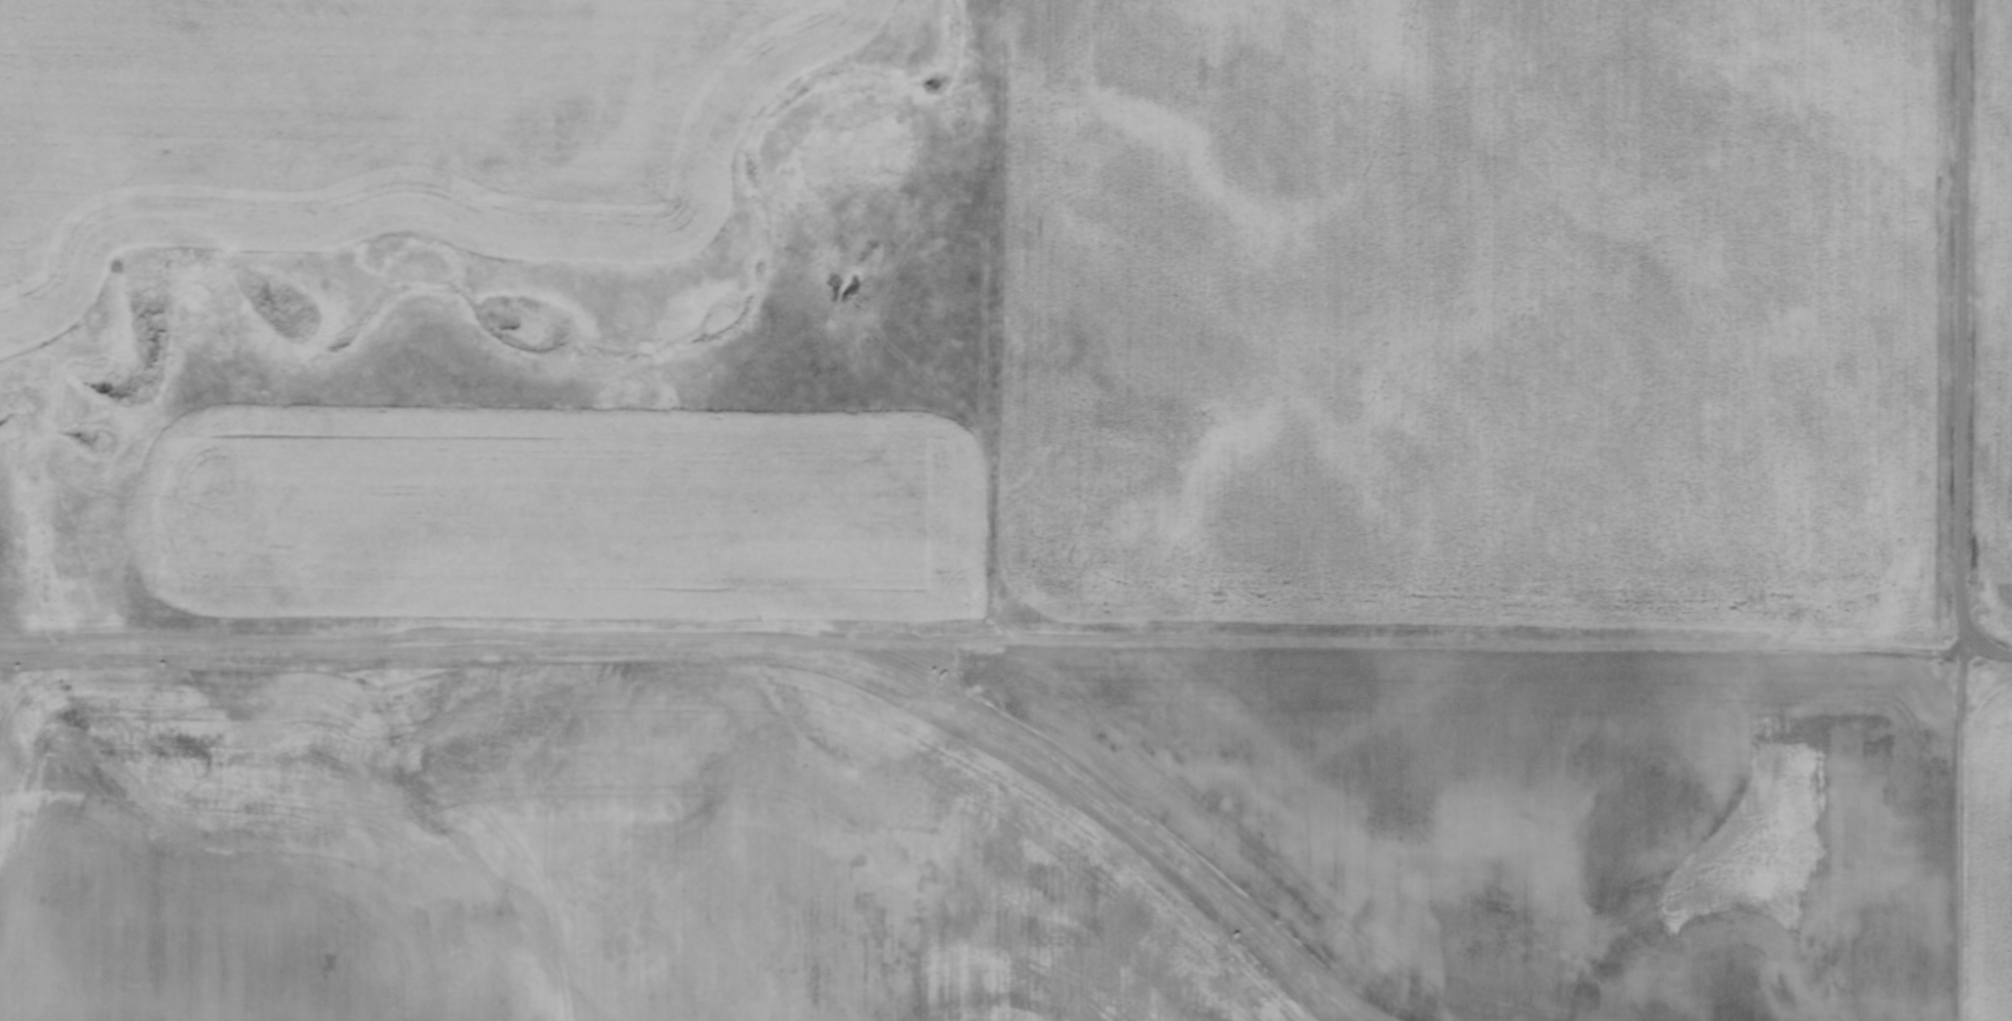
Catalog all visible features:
road: (1965, 327)
road: (982, 631)
road: (1988, 653)
road: (1963, 837)

